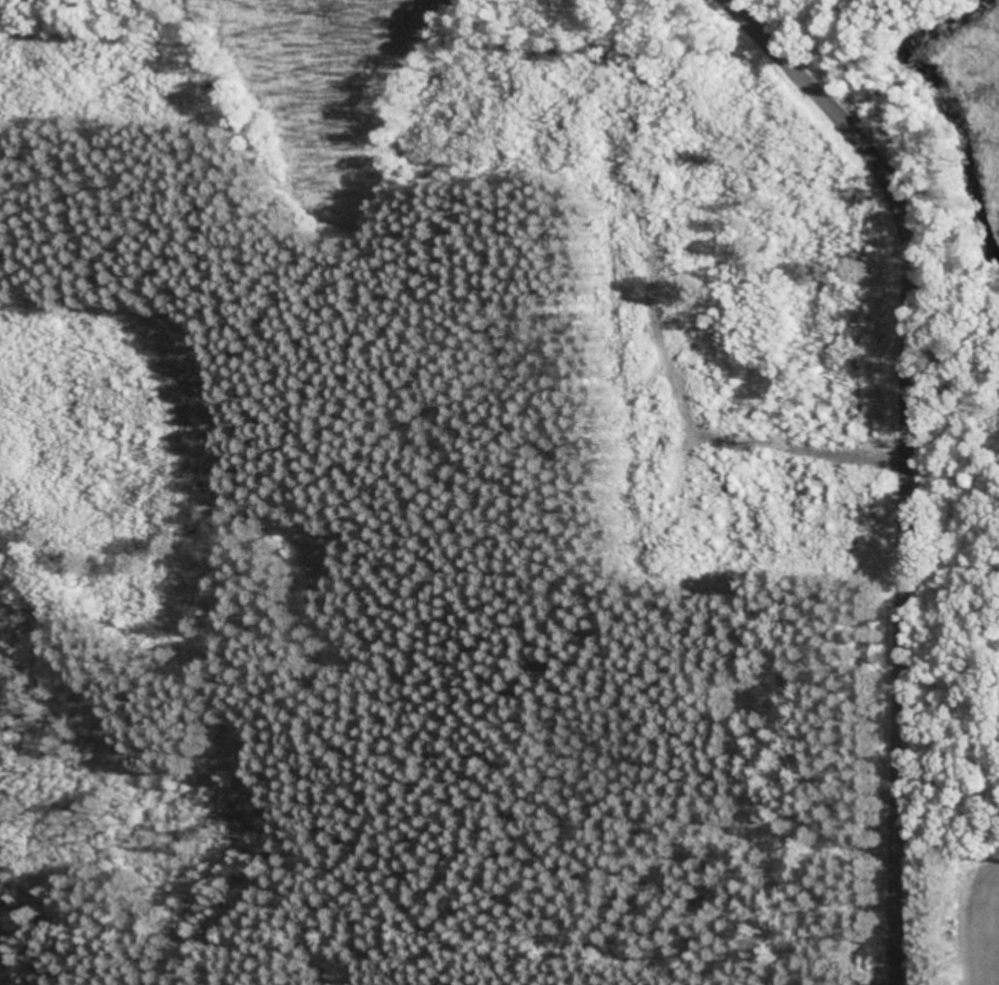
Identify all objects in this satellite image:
road: (911, 456)

